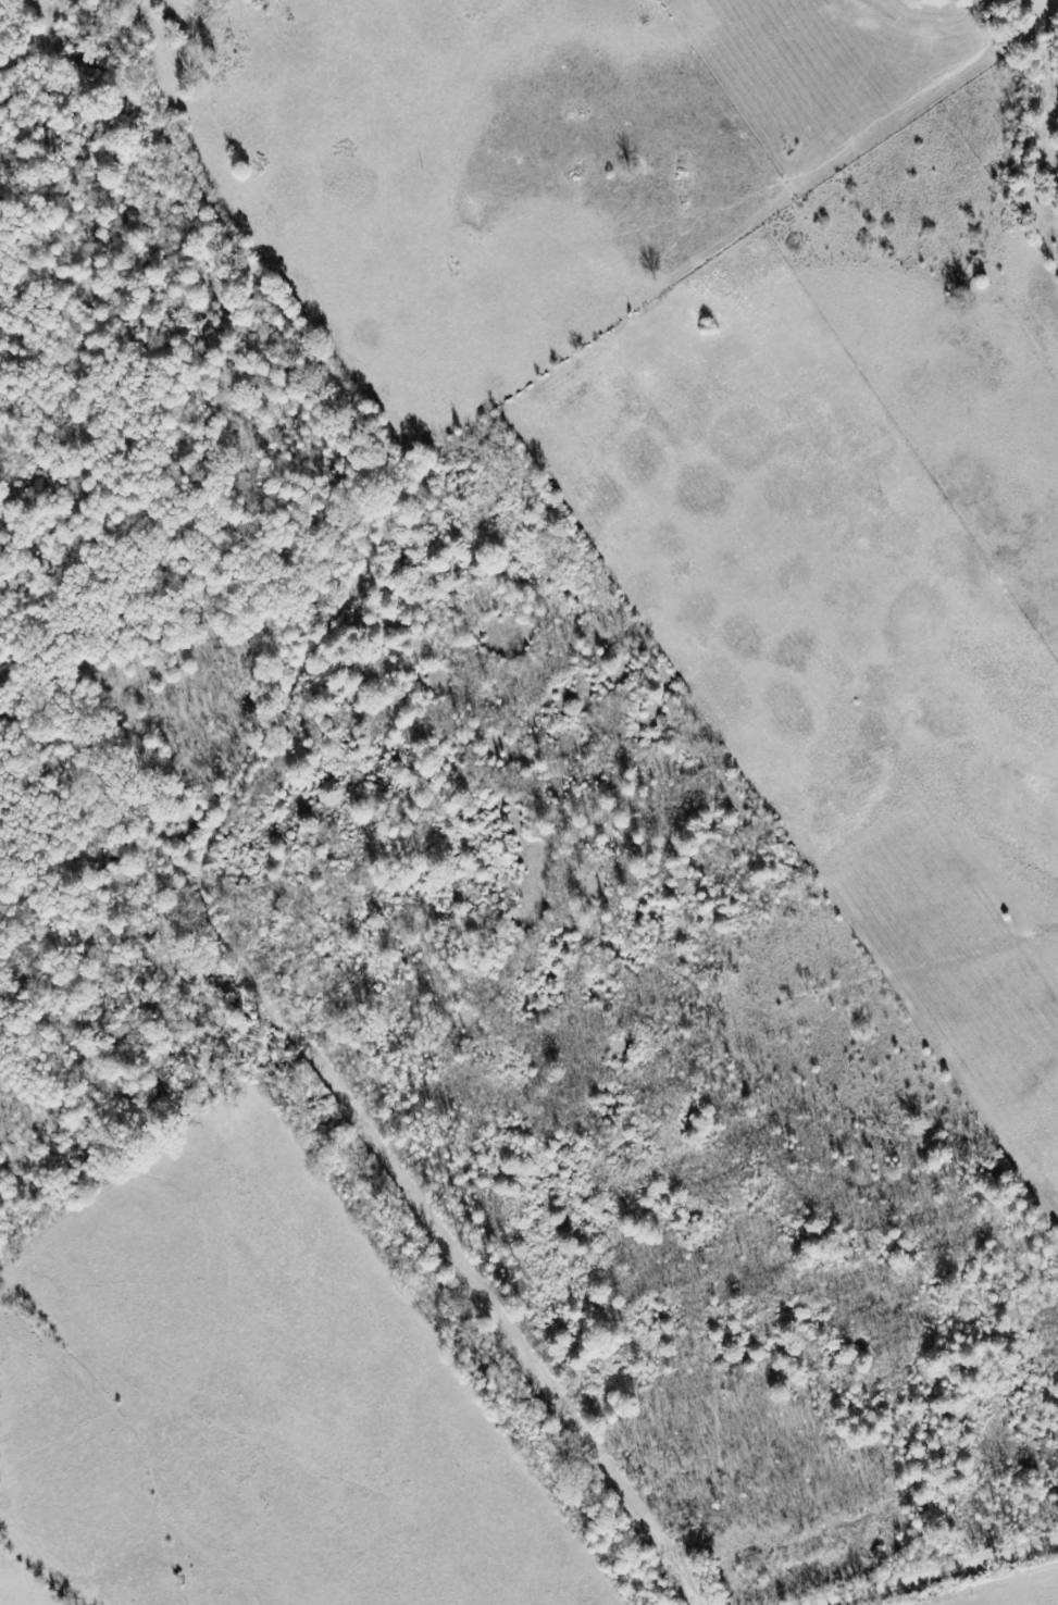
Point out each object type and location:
road: (961, 1576)

